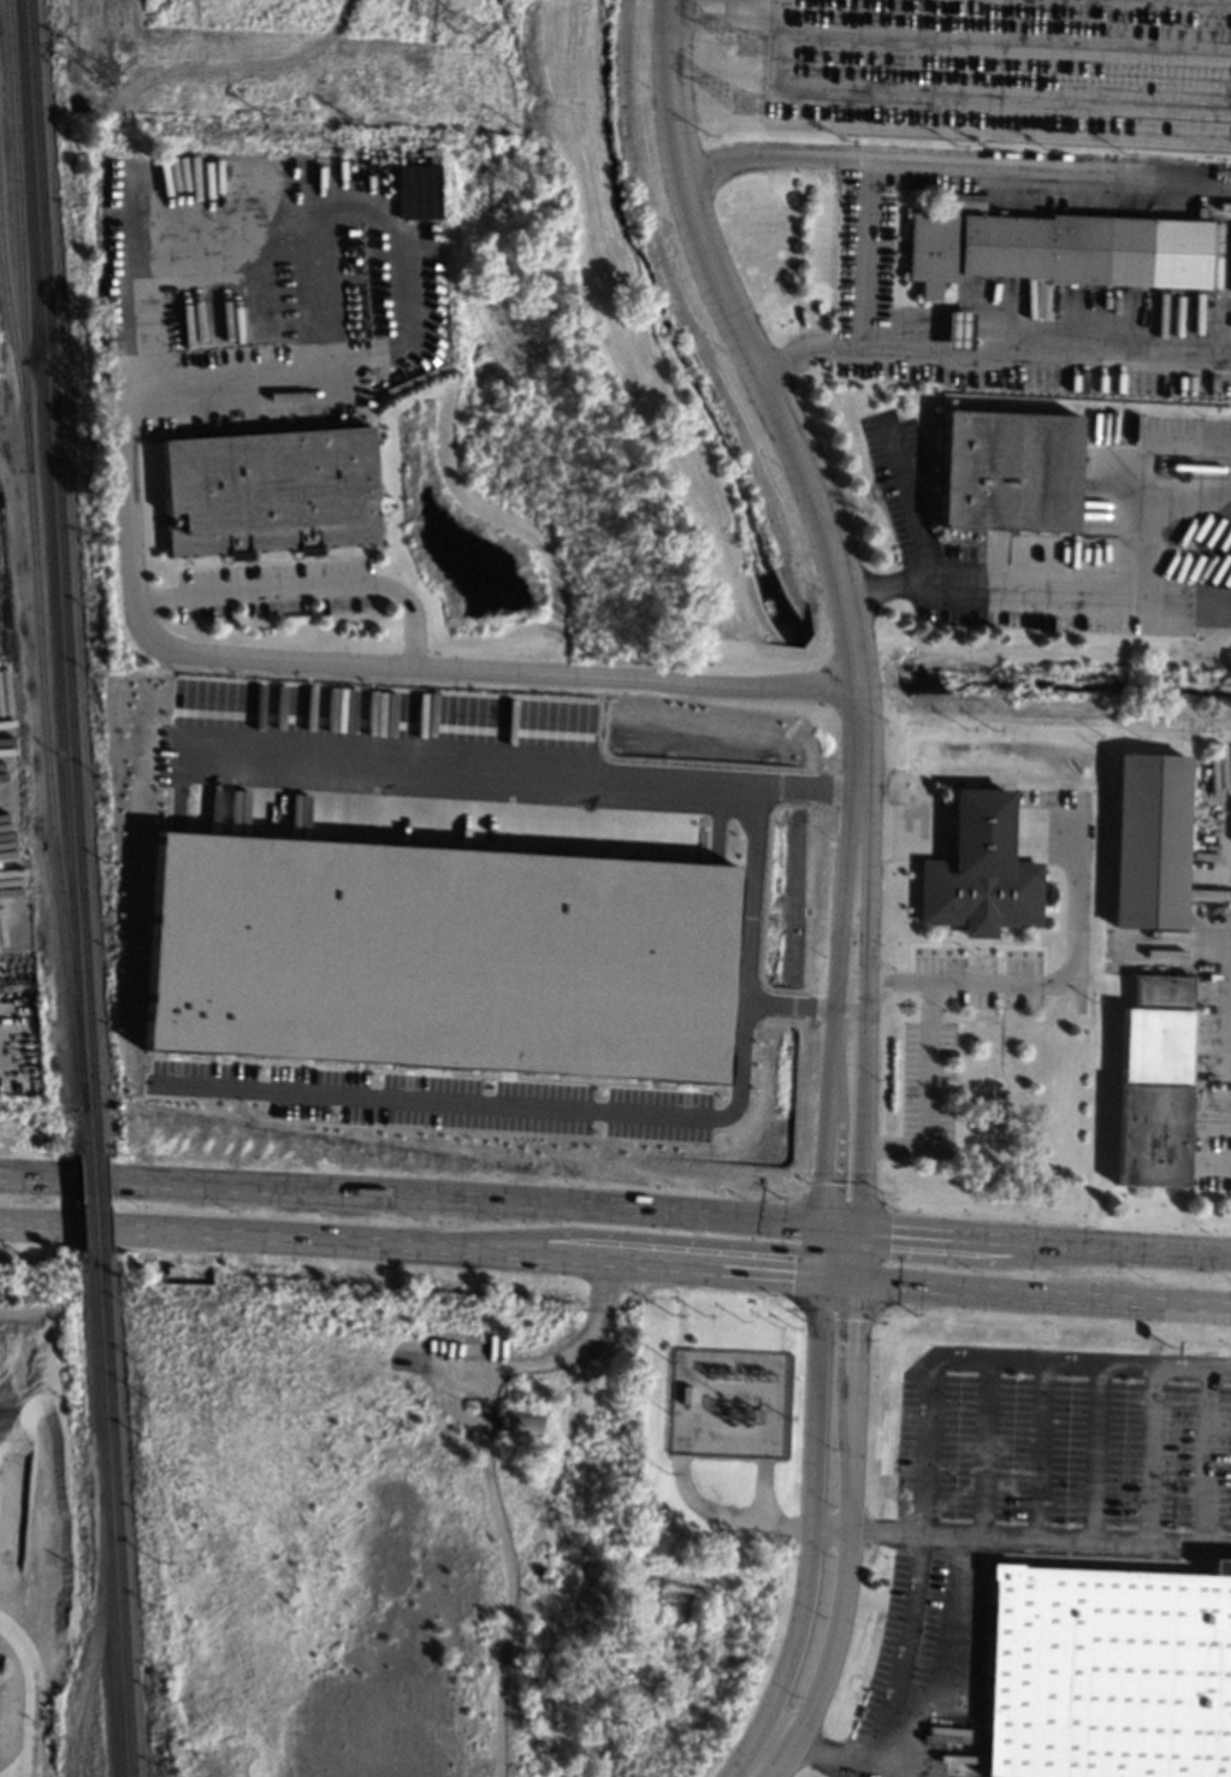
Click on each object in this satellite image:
road: (782, 5)
road: (726, 8)
power tower: (469, 34)
road: (1006, 39)
power tower: (745, 45)
road: (966, 47)
parking lot: (1004, 63)
power tower: (101, 73)
road: (966, 95)
power tower: (742, 104)
road: (954, 165)
building: (415, 191)
building: (1026, 248)
road: (865, 254)
road: (732, 318)
building: (957, 330)
road: (993, 354)
railway: (14, 356)
building: (1007, 471)
building: (268, 489)
road: (909, 500)
railway: (34, 554)
railway: (53, 577)
railway: (64, 577)
road: (1063, 586)
road: (307, 588)
road: (853, 654)
road: (254, 659)
road: (470, 762)
road: (856, 831)
road: (904, 831)
road: (756, 839)
building: (1149, 840)
building: (978, 870)
building: (445, 957)
road: (1063, 975)
road: (998, 1031)
road: (992, 1079)
road: (958, 1082)
building: (1154, 1082)
parking lot: (925, 1088)
road: (925, 1096)
road: (828, 1099)
road: (863, 1102)
road: (593, 1103)
road: (995, 1104)
building: (114, 1105)
park: (983, 1111)
road: (990, 1117)
road: (412, 1194)
railway: (89, 1205)
railway: (100, 1205)
traffic signals: (823, 1224)
traffic signals: (859, 1228)
road: (617, 1234)
road: (1026, 1240)
road: (410, 1244)
road: (822, 1251)
road: (858, 1254)
building: (146, 1265)
traffic signals: (822, 1279)
road: (840, 1280)
traffic signals: (858, 1282)
road: (1043, 1294)
road: (1077, 1360)
power substation: (729, 1403)
building: (519, 1422)
road: (983, 1445)
road: (1040, 1447)
road: (1096, 1450)
road: (1152, 1452)
road: (1211, 1454)
road: (811, 1511)
parking lot: (1026, 1512)
railway: (106, 1516)
railway: (117, 1516)
road: (850, 1522)
road: (1020, 1535)
road: (918, 1571)
road: (958, 1661)
building: (1108, 1672)
road: (32, 1694)
road: (818, 1749)
road: (759, 1758)

